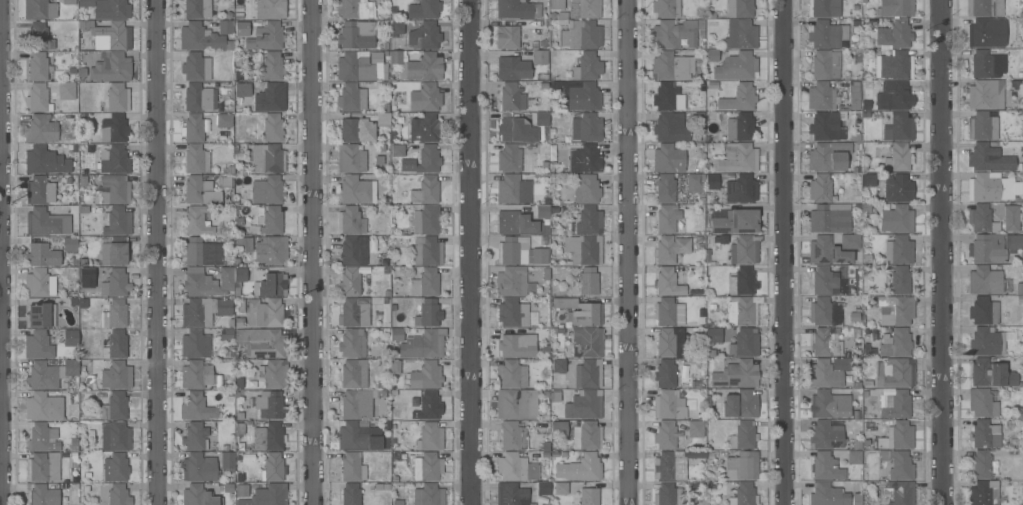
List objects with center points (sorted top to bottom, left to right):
building: (68, 2)
building: (556, 4)
building: (984, 7)
building: (108, 8)
building: (666, 8)
building: (740, 8)
building: (823, 8)
building: (894, 8)
building: (38, 9)
building: (197, 9)
building: (270, 9)
building: (424, 9)
building: (513, 9)
building: (584, 9)
building: (354, 10)
building: (225, 27)
building: (397, 28)
building: (242, 29)
building: (987, 32)
building: (674, 34)
building: (740, 34)
building: (827, 34)
building: (356, 35)
building: (581, 35)
building: (894, 35)
building: (37, 36)
building: (424, 36)
building: (113, 37)
building: (266, 37)
building: (507, 37)
building: (199, 38)
building: (711, 55)
building: (395, 57)
building: (539, 57)
building: (986, 64)
building: (677, 65)
building: (826, 65)
building: (894, 65)
building: (38, 66)
building: (735, 66)
building: (196, 67)
building: (270, 67)
building: (358, 67)
building: (587, 67)
building: (111, 68)
building: (423, 68)
building: (512, 68)
building: (1015, 85)
building: (242, 90)
building: (66, 91)
building: (983, 94)
building: (577, 95)
building: (854, 95)
building: (665, 96)
building: (820, 96)
building: (271, 97)
building: (429, 97)
building: (738, 97)
building: (117, 98)
building: (198, 98)
building: (351, 98)
building: (511, 98)
building: (895, 98)
building: (38, 99)
building: (382, 119)
building: (224, 120)
building: (699, 121)
building: (824, 126)
building: (982, 126)
building: (584, 127)
building: (670, 127)
building: (739, 127)
building: (898, 127)
building: (193, 128)
building: (272, 128)
building: (523, 128)
building: (41, 129)
building: (113, 129)
building: (425, 129)
building: (356, 130)
building: (841, 147)
building: (397, 151)
building: (266, 158)
building: (583, 158)
building: (826, 158)
building: (898, 158)
building: (988, 158)
building: (196, 159)
building: (350, 159)
building: (428, 159)
building: (509, 159)
building: (668, 159)
building: (737, 159)
building: (114, 160)
building: (45, 161)
building: (868, 180)
building: (712, 182)
building: (695, 183)
building: (989, 187)
building: (42, 188)
building: (514, 188)
building: (586, 188)
building: (824, 188)
building: (114, 189)
building: (272, 189)
building: (665, 189)
building: (741, 189)
building: (898, 189)
building: (355, 190)
building: (200, 191)
building: (425, 191)
building: (542, 211)
building: (830, 218)
building: (981, 218)
building: (1011, 218)
building: (666, 219)
building: (45, 220)
building: (198, 220)
building: (350, 220)
building: (425, 220)
building: (589, 220)
building: (897, 220)
building: (116, 221)
building: (272, 221)
building: (735, 222)
building: (514, 223)
building: (849, 241)
building: (1013, 242)
building: (70, 244)
building: (264, 249)
building: (583, 249)
building: (671, 249)
building: (744, 249)
building: (512, 250)
building: (898, 250)
building: (985, 250)
building: (427, 251)
building: (827, 251)
road: (4, 252)
building: (114, 252)
road: (158, 252)
building: (202, 252)
road: (310, 252)
building: (351, 252)
road: (473, 252)
road: (628, 252)
road: (780, 252)
road: (944, 252)
building: (42, 255)
building: (539, 257)
building: (239, 275)
building: (587, 280)
building: (900, 280)
building: (984, 280)
building: (272, 281)
building: (741, 281)
building: (823, 281)
building: (112, 282)
building: (206, 282)
building: (510, 282)
building: (667, 282)
building: (351, 283)
building: (427, 283)
building: (39, 284)
building: (1019, 289)
building: (895, 310)
building: (203, 311)
building: (265, 311)
building: (580, 311)
building: (743, 311)
building: (984, 311)
building: (354, 312)
building: (825, 312)
building: (512, 313)
building: (666, 313)
building: (114, 314)
building: (428, 314)
building: (41, 315)
building: (240, 320)
building: (225, 334)
building: (396, 334)
building: (713, 335)
building: (70, 338)
building: (262, 342)
building: (742, 342)
building: (825, 342)
building: (987, 342)
building: (352, 343)
building: (667, 343)
building: (895, 343)
building: (195, 344)
building: (423, 344)
building: (586, 344)
building: (38, 345)
building: (115, 345)
building: (517, 345)
building: (841, 364)
building: (558, 366)
building: (394, 367)
building: (665, 373)
building: (895, 373)
building: (50, 374)
building: (511, 374)
building: (588, 374)
building: (824, 374)
building: (991, 374)
building: (196, 375)
building: (269, 375)
building: (355, 375)
building: (736, 375)
building: (115, 376)
building: (425, 376)
building: (981, 403)
building: (357, 404)
building: (515, 404)
building: (50, 405)
building: (270, 405)
building: (584, 405)
building: (669, 405)
building: (740, 405)
building: (896, 405)
building: (427, 406)
building: (825, 406)
building: (115, 407)
building: (196, 407)
building: (399, 415)
building: (542, 427)
building: (559, 429)
building: (695, 429)
building: (984, 434)
building: (665, 435)
building: (826, 435)
building: (115, 436)
building: (195, 436)
building: (360, 436)
building: (513, 436)
building: (586, 436)
building: (743, 436)
building: (897, 436)
building: (268, 437)
building: (429, 437)
building: (39, 438)
building: (545, 447)
building: (227, 461)
building: (737, 464)
building: (898, 464)
building: (670, 465)
building: (833, 465)
building: (984, 465)
building: (42, 467)
building: (198, 467)
building: (274, 467)
building: (352, 467)
building: (427, 467)
building: (115, 468)
building: (516, 468)
building: (580, 468)
building: (542, 488)
building: (558, 488)
building: (900, 492)
building: (983, 493)
building: (42, 494)
building: (103, 494)
building: (271, 494)
building: (351, 494)
building: (511, 494)
building: (668, 494)
building: (741, 494)
building: (118, 495)
building: (243, 495)
building: (428, 495)
building: (827, 495)
building: (198, 496)
building: (585, 497)
building: (856, 500)

